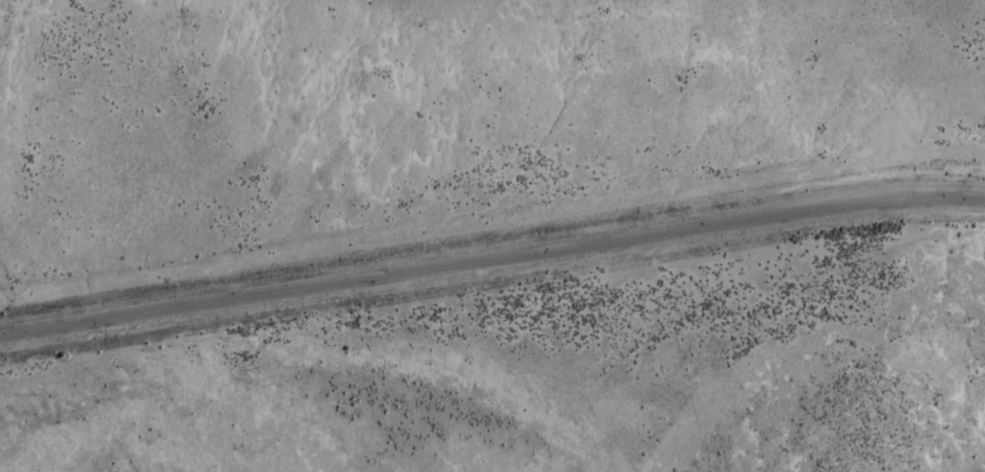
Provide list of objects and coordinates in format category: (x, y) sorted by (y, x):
road: (491, 259)

